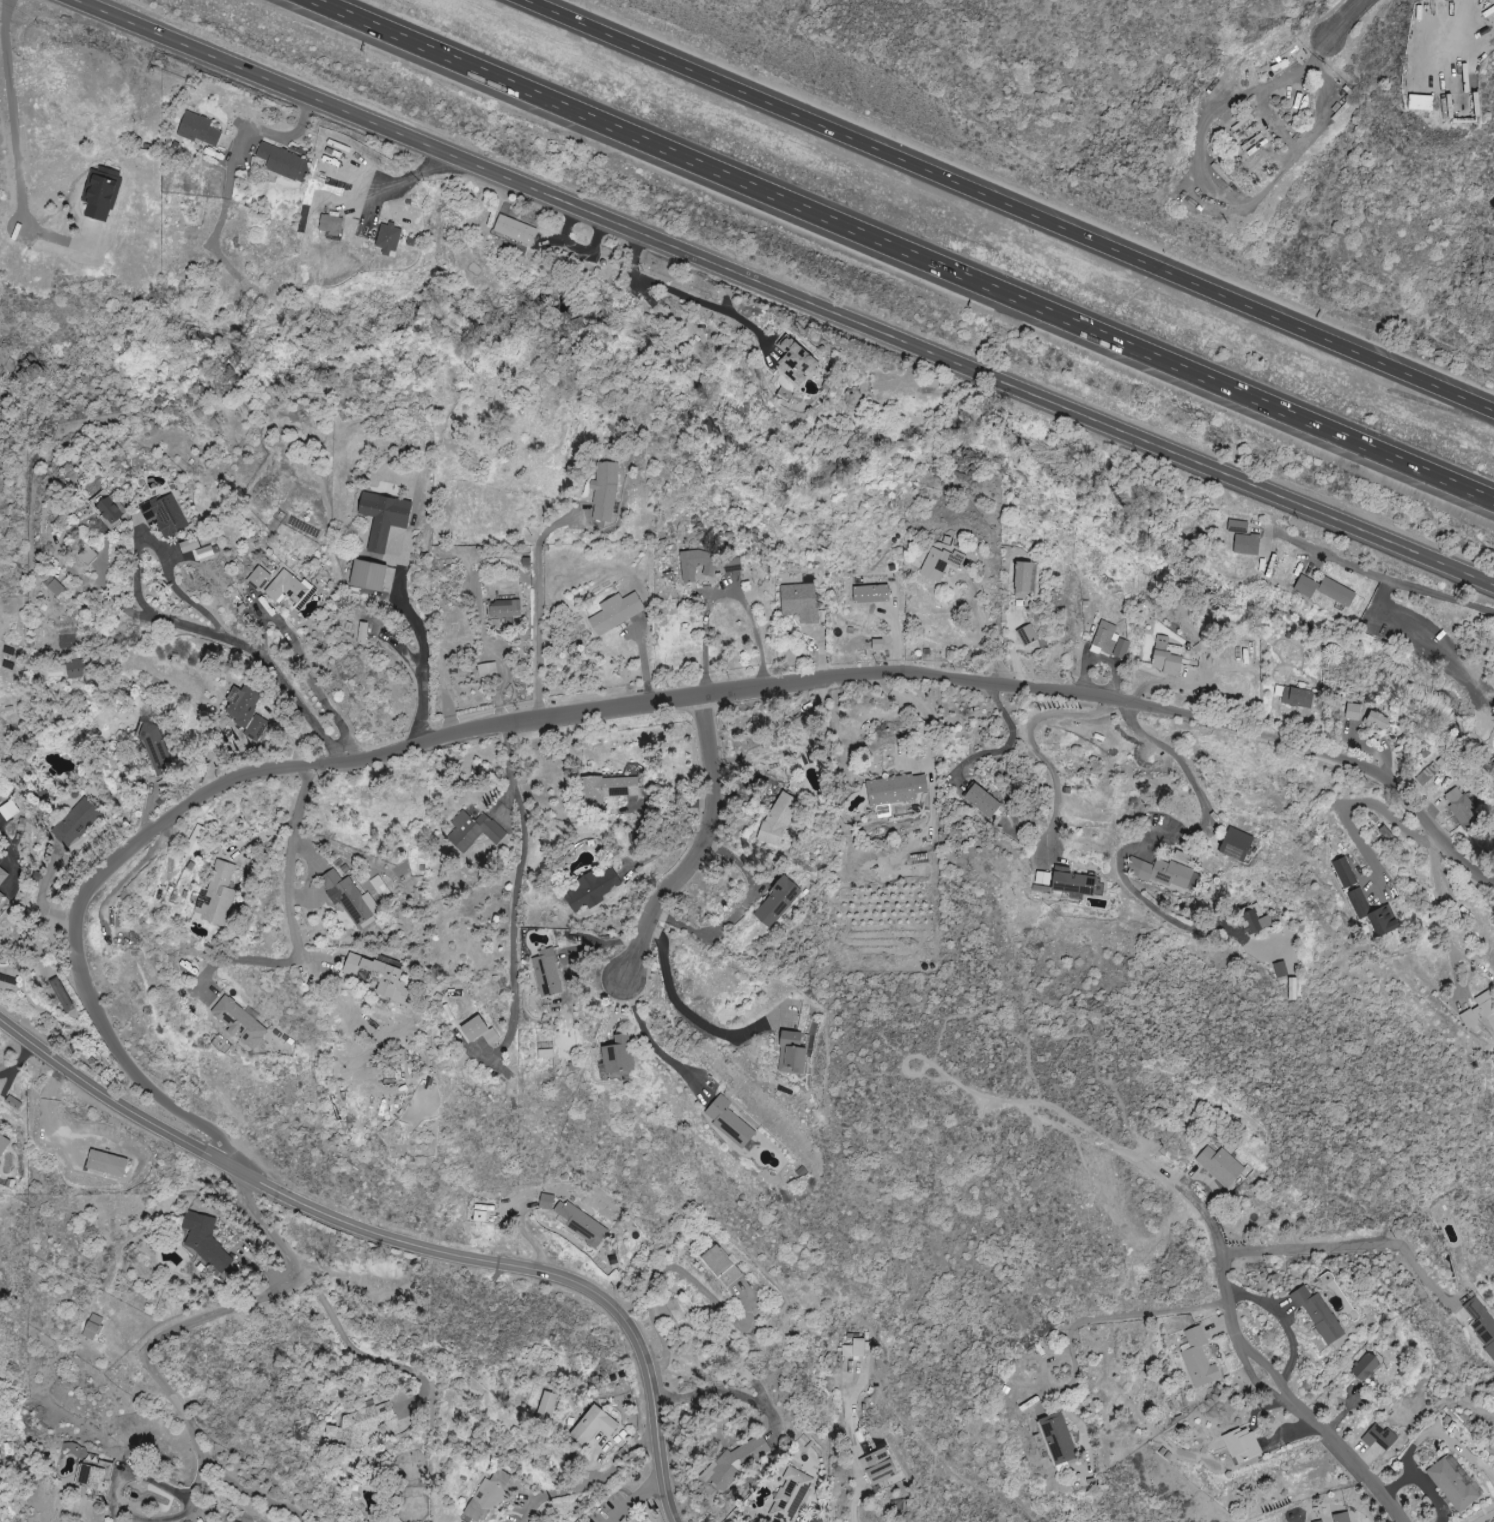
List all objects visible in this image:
road: (1344, 26)
road: (11, 91)
building: (1423, 102)
building: (199, 127)
road: (237, 145)
building: (282, 161)
road: (391, 181)
building: (103, 192)
road: (1213, 196)
road: (1009, 204)
building: (332, 224)
building: (517, 229)
building: (390, 239)
road: (908, 249)
road: (778, 292)
road: (689, 298)
building: (804, 360)
building: (606, 491)
building: (102, 497)
building: (114, 514)
building: (166, 515)
building: (387, 517)
building: (1239, 526)
building: (1249, 544)
building: (192, 545)
building: (207, 552)
road: (159, 553)
building: (89, 555)
building: (943, 563)
building: (700, 565)
building: (372, 575)
road: (1384, 575)
building: (1030, 577)
building: (57, 586)
building: (285, 587)
building: (1308, 587)
road: (723, 590)
building: (1339, 592)
building: (874, 594)
building: (803, 602)
road: (538, 605)
building: (507, 610)
building: (618, 612)
building: (364, 633)
building: (1031, 635)
road: (988, 642)
building: (1112, 642)
building: (880, 644)
road: (424, 653)
building: (1169, 657)
road: (300, 660)
road: (264, 663)
building: (77, 668)
building: (487, 669)
building: (57, 671)
road: (1173, 681)
building: (1300, 697)
road: (615, 706)
road: (918, 707)
building: (248, 711)
building: (1351, 711)
building: (1374, 719)
road: (1012, 743)
road: (1034, 745)
building: (156, 748)
building: (608, 788)
building: (896, 792)
building: (984, 800)
building: (1458, 803)
road: (1350, 804)
building: (10, 810)
building: (781, 819)
building: (74, 824)
building: (474, 828)
building: (1386, 834)
building: (197, 841)
road: (1155, 842)
building: (1236, 844)
road: (702, 850)
building: (1344, 872)
building: (1164, 873)
building: (3, 876)
building: (1043, 881)
building: (1075, 883)
building: (381, 887)
road: (517, 887)
road: (45, 889)
building: (594, 890)
building: (219, 893)
building: (2, 897)
building: (348, 898)
building: (779, 902)
building: (1256, 910)
road: (743, 911)
building: (1371, 912)
road: (1444, 913)
road: (294, 914)
building: (1254, 921)
road: (1474, 961)
building: (549, 973)
building: (380, 975)
road: (699, 1007)
building: (1480, 1011)
building: (241, 1022)
building: (481, 1029)
building: (546, 1053)
building: (795, 1053)
building: (621, 1054)
building: (731, 1122)
building: (4, 1145)
building: (1222, 1165)
building: (575, 1220)
road: (396, 1239)
building: (210, 1244)
road: (1353, 1245)
building: (723, 1265)
building: (1321, 1314)
road: (1112, 1316)
road: (197, 1320)
building: (1483, 1322)
building: (95, 1327)
building: (856, 1348)
road: (359, 1354)
building: (1200, 1358)
building: (1369, 1365)
road: (1258, 1370)
road: (725, 1389)
building: (547, 1406)
building: (361, 1425)
building: (596, 1425)
building: (1381, 1437)
building: (1057, 1439)
building: (1244, 1445)
building: (77, 1450)
building: (881, 1466)
building: (96, 1474)
building: (1455, 1485)
road: (117, 1493)
building: (792, 1495)
building: (490, 1496)
road: (640, 1501)
road: (855, 1501)
building: (1344, 1517)

